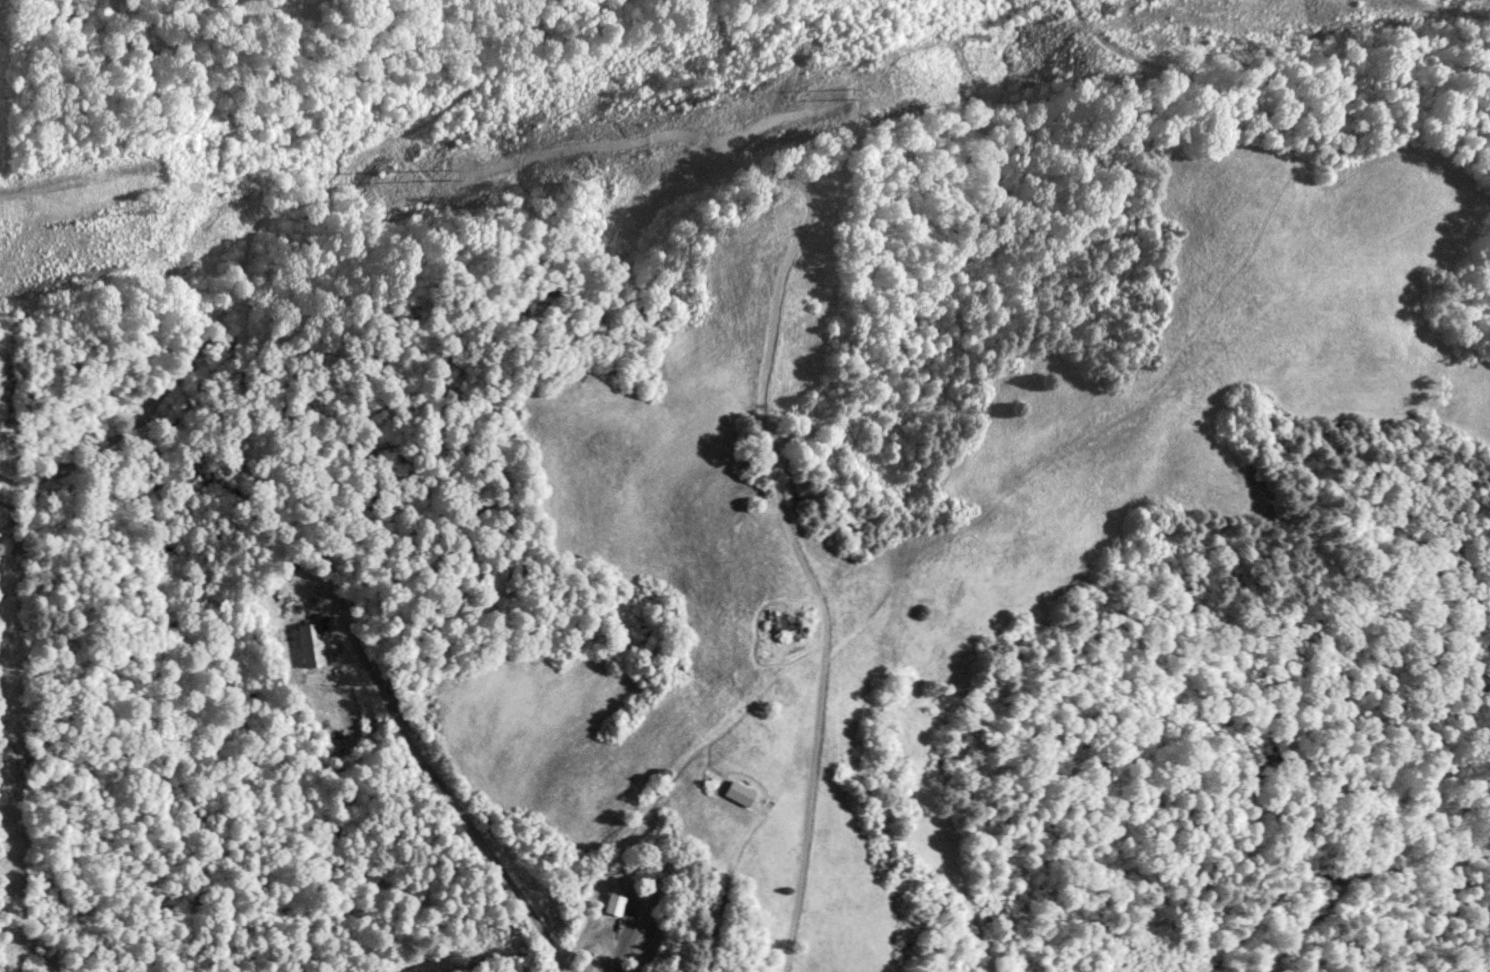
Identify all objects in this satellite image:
building: (616, 905)
road: (573, 954)

